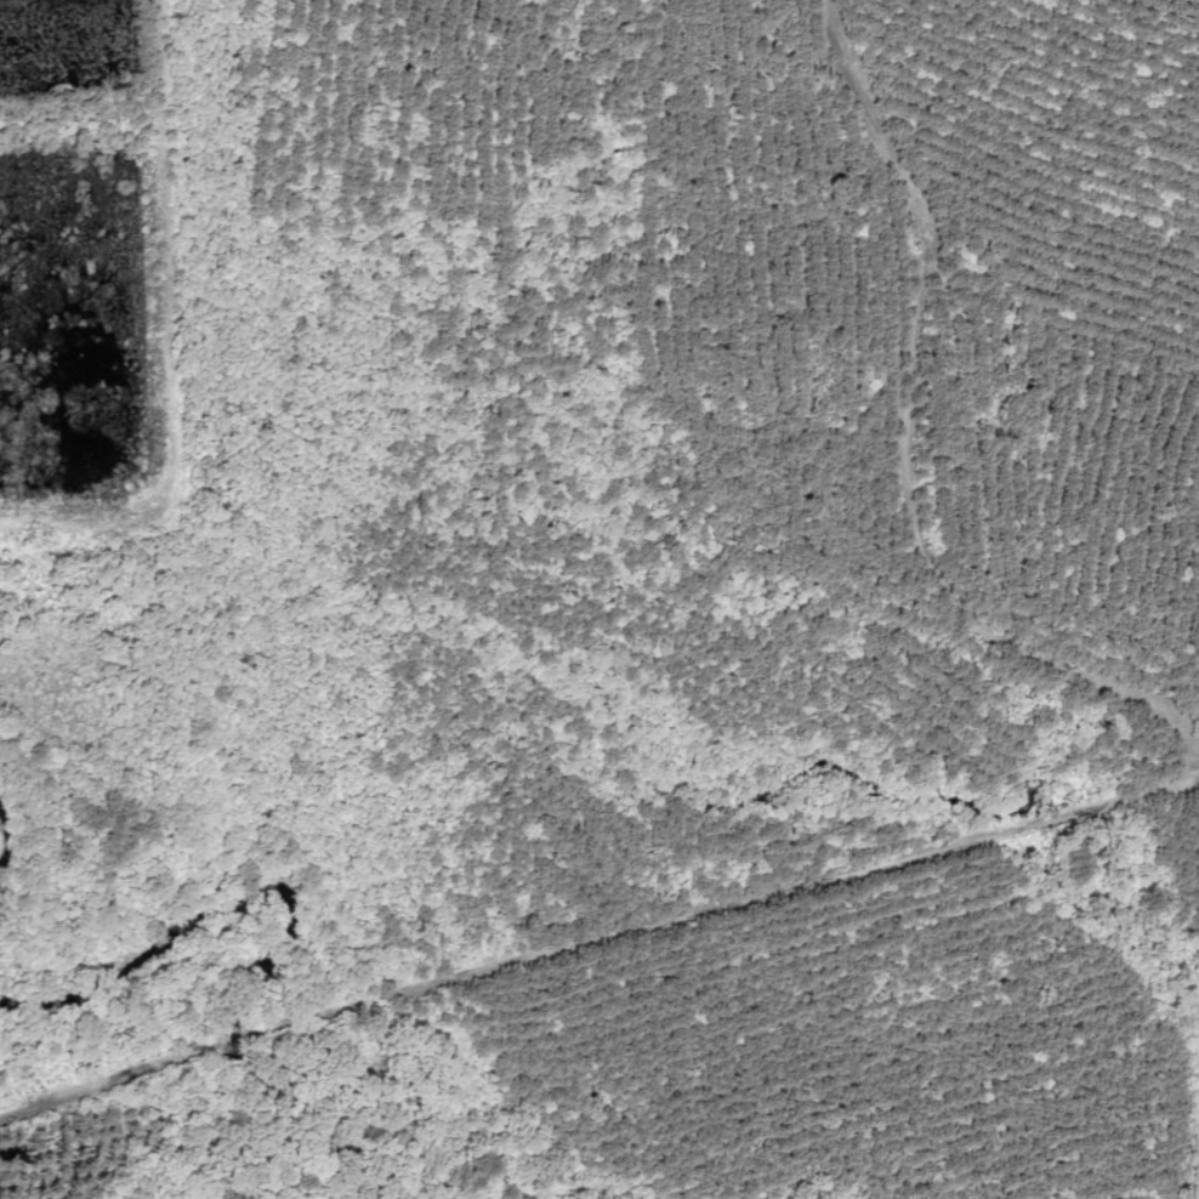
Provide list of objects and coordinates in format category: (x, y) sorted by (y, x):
road: (206, 1119)

